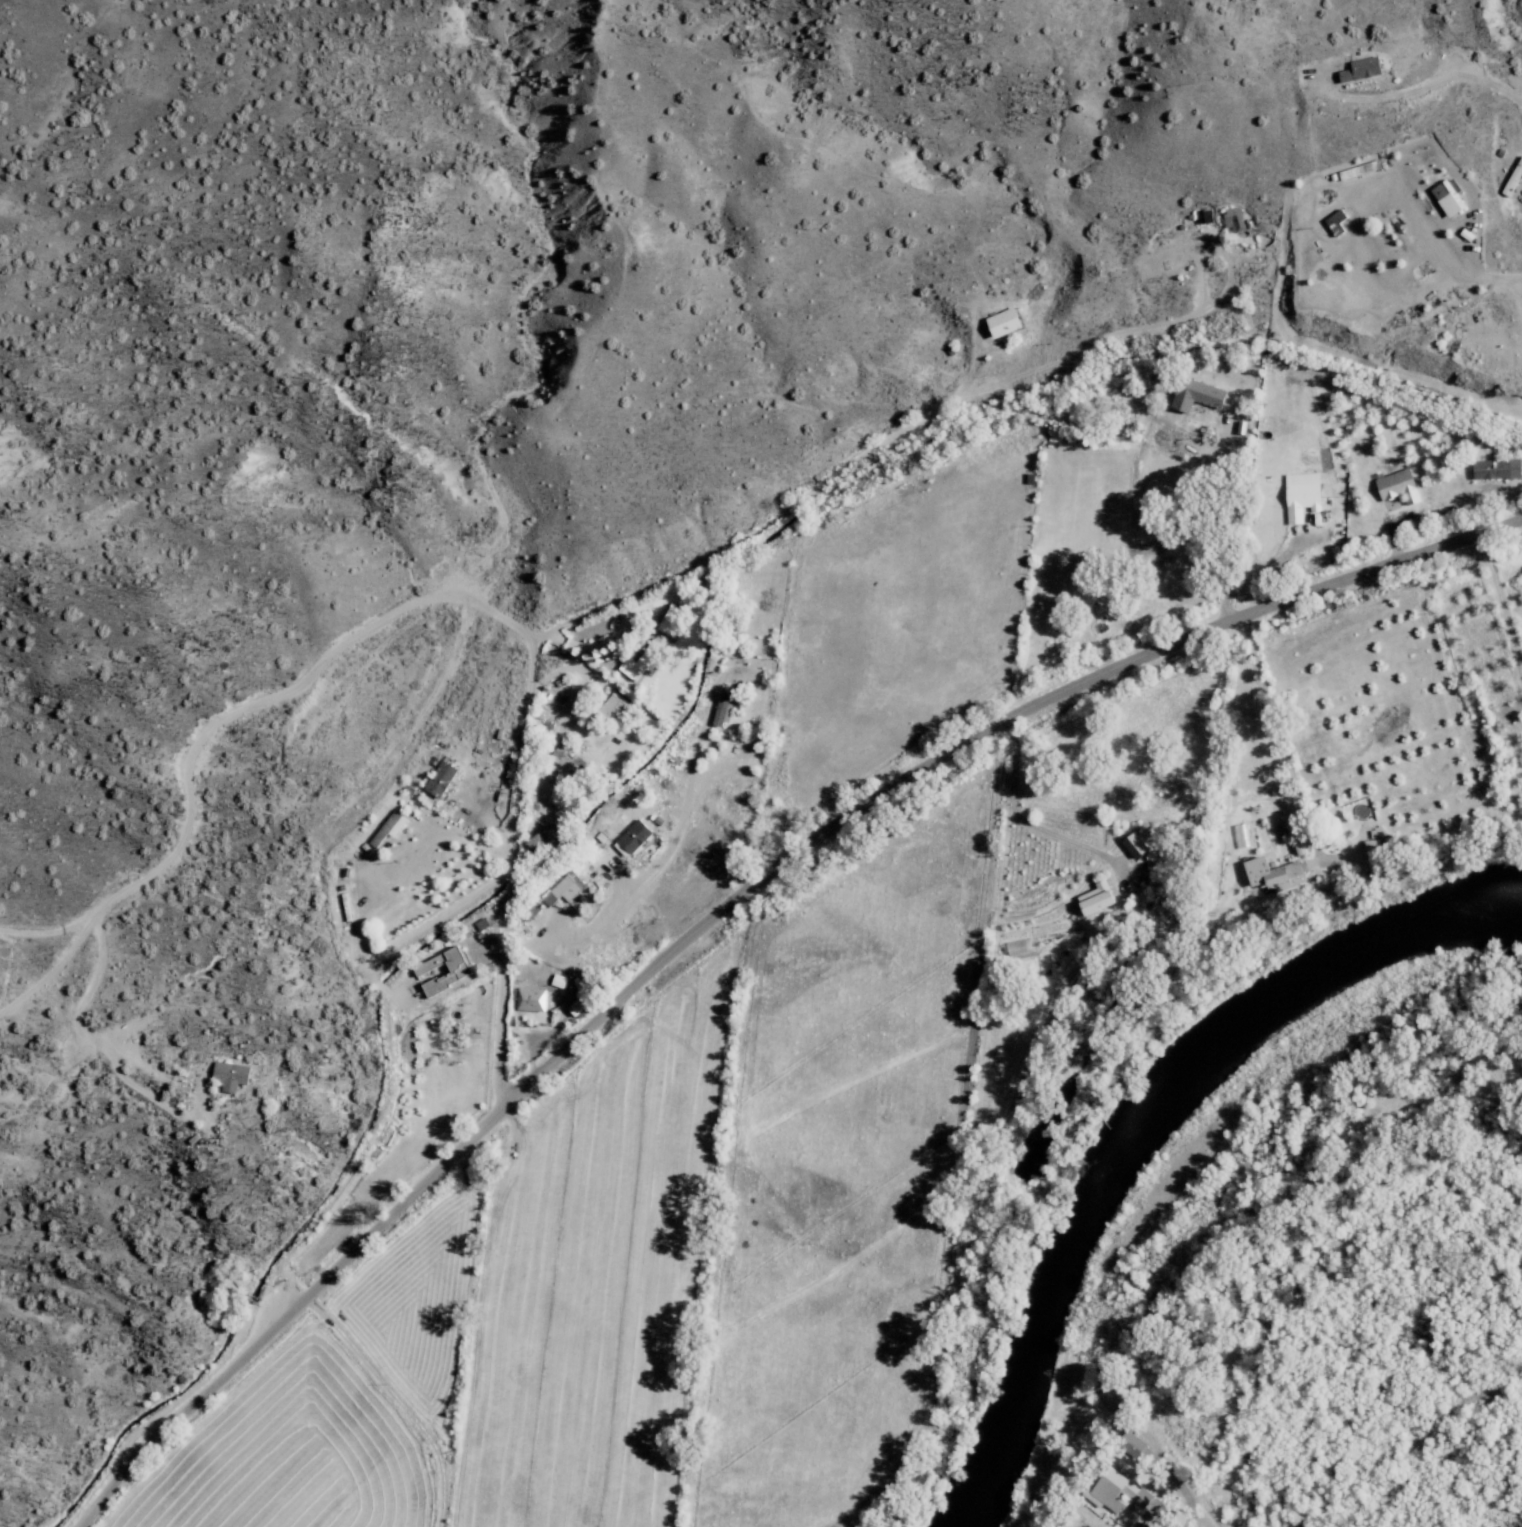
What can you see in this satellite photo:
building: (1510, 175)
building: (1440, 197)
building: (1010, 323)
building: (1201, 396)
building: (1491, 467)
building: (1393, 486)
building: (613, 710)
building: (443, 780)
road: (199, 783)
building: (389, 832)
building: (1239, 834)
building: (634, 840)
building: (1266, 874)
building: (569, 890)
road: (515, 892)
building: (1087, 898)
road: (722, 906)
building: (448, 973)
building: (534, 1001)
building: (235, 1078)
road: (142, 1098)
river: (1169, 1144)
road: (301, 1269)
building: (1125, 1442)
building: (1129, 1494)

